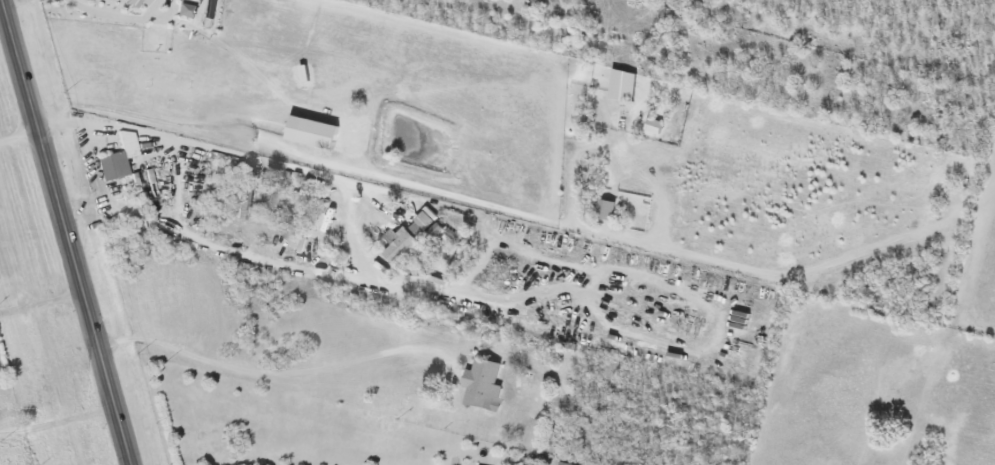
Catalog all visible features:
road: (14, 2)
building: (140, 2)
building: (209, 9)
building: (186, 10)
road: (117, 15)
building: (626, 86)
road: (19, 133)
building: (317, 133)
building: (120, 158)
road: (386, 178)
road: (97, 183)
road: (350, 205)
building: (418, 230)
road: (68, 232)
building: (435, 232)
building: (401, 245)
road: (41, 299)
road: (275, 374)
building: (485, 386)
road: (58, 421)
building: (560, 463)

